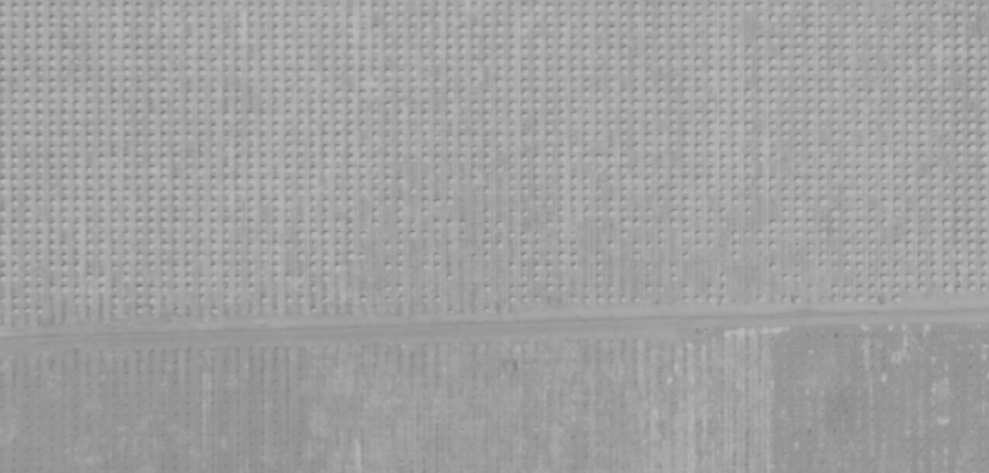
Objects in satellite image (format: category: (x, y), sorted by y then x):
crop: (494, 236)

